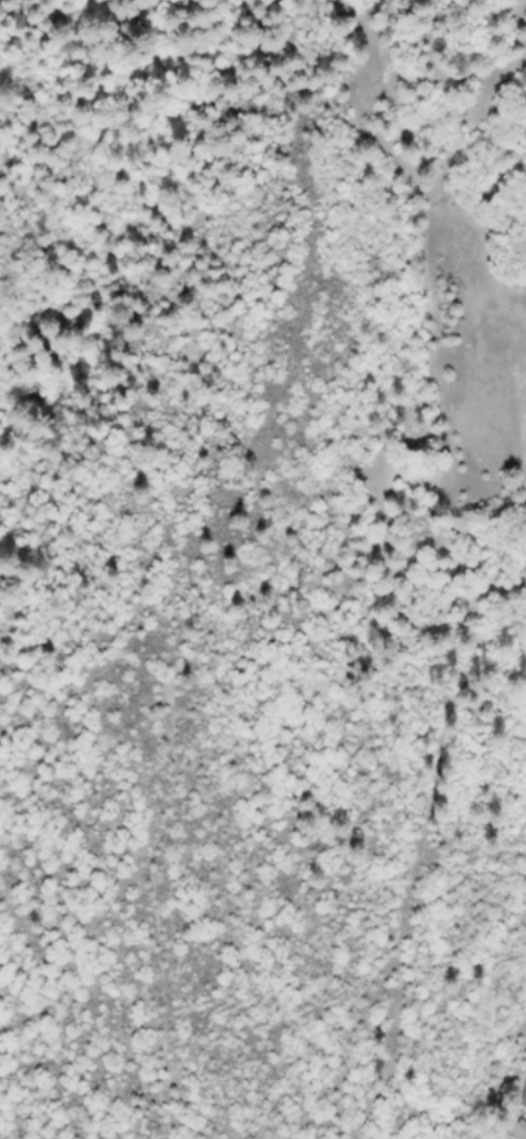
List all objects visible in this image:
building: (523, 1098)

